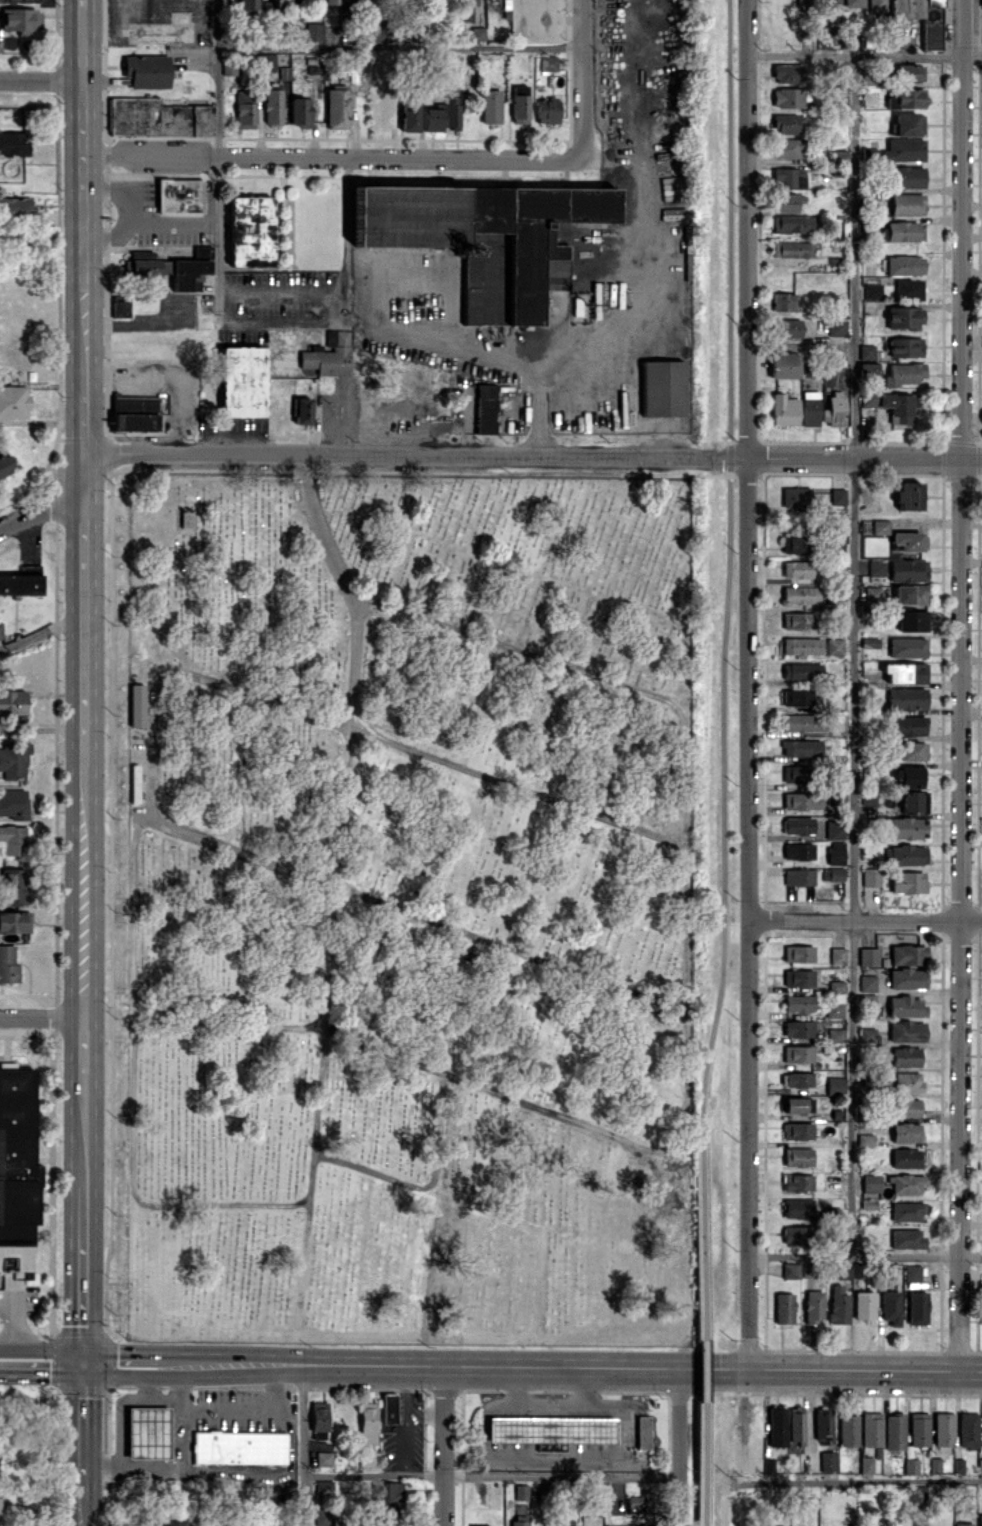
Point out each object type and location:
building: (19, 1)
building: (349, 1)
building: (366, 1)
building: (280, 2)
building: (331, 2)
building: (829, 2)
building: (853, 3)
building: (981, 3)
road: (82, 4)
building: (246, 4)
building: (805, 5)
building: (877, 5)
building: (467, 8)
building: (20, 20)
building: (313, 31)
building: (477, 33)
building: (931, 33)
road: (398, 47)
road: (864, 55)
building: (267, 62)
building: (548, 62)
building: (146, 71)
building: (787, 73)
building: (909, 73)
road: (216, 77)
building: (869, 77)
road: (41, 79)
road: (581, 85)
building: (787, 97)
building: (906, 98)
building: (519, 103)
building: (272, 105)
building: (490, 106)
building: (244, 108)
building: (336, 108)
building: (299, 111)
building: (547, 111)
building: (443, 113)
building: (408, 116)
building: (157, 118)
building: (787, 123)
building: (907, 124)
building: (13, 142)
building: (786, 148)
building: (903, 150)
building: (869, 154)
road: (323, 155)
building: (839, 157)
building: (906, 176)
building: (788, 177)
road: (118, 191)
building: (179, 195)
road: (84, 199)
building: (784, 202)
building: (906, 203)
building: (15, 206)
road: (142, 223)
building: (791, 223)
building: (904, 230)
building: (250, 231)
building: (485, 237)
building: (792, 248)
building: (904, 265)
road: (635, 269)
building: (908, 288)
building: (872, 290)
building: (784, 301)
building: (120, 306)
road: (280, 317)
building: (903, 317)
building: (787, 327)
building: (836, 327)
road: (118, 328)
building: (904, 347)
building: (866, 351)
building: (328, 354)
road: (479, 355)
building: (784, 365)
building: (867, 370)
building: (903, 373)
road: (164, 378)
building: (241, 381)
building: (661, 388)
building: (869, 397)
building: (13, 401)
building: (896, 407)
building: (485, 408)
building: (809, 408)
building: (784, 409)
building: (833, 409)
building: (301, 410)
building: (134, 412)
road: (347, 419)
road: (86, 423)
road: (533, 455)
building: (6, 463)
building: (907, 495)
building: (795, 496)
building: (837, 496)
road: (41, 504)
building: (183, 519)
building: (879, 526)
building: (907, 540)
building: (794, 544)
road: (728, 554)
building: (876, 567)
building: (796, 569)
building: (907, 569)
building: (22, 581)
building: (800, 594)
building: (871, 594)
building: (909, 594)
road: (86, 609)
building: (796, 620)
building: (911, 620)
road: (43, 629)
building: (1, 630)
building: (869, 642)
building: (801, 645)
building: (833, 646)
building: (907, 646)
road: (853, 656)
building: (801, 671)
building: (904, 672)
road: (747, 684)
road: (961, 685)
building: (796, 696)
building: (906, 698)
building: (13, 704)
building: (136, 704)
building: (806, 723)
building: (908, 726)
road: (151, 745)
building: (800, 748)
building: (912, 751)
building: (14, 758)
railway: (714, 762)
building: (795, 773)
building: (907, 777)
building: (867, 796)
building: (801, 800)
building: (912, 801)
building: (13, 803)
building: (797, 825)
building: (904, 827)
building: (834, 829)
building: (13, 839)
building: (798, 851)
building: (834, 853)
building: (903, 854)
building: (834, 874)
building: (798, 876)
building: (870, 876)
building: (906, 881)
building: (13, 886)
road: (85, 891)
park: (425, 907)
road: (865, 919)
building: (15, 921)
building: (797, 953)
building: (907, 954)
building: (837, 955)
building: (867, 956)
building: (8, 964)
building: (797, 977)
building: (906, 978)
building: (866, 983)
building: (834, 998)
building: (797, 1003)
building: (905, 1006)
road: (42, 1017)
building: (797, 1028)
building: (905, 1031)
building: (865, 1034)
road: (85, 1045)
building: (797, 1053)
building: (903, 1056)
road: (444, 1060)
building: (795, 1079)
building: (906, 1082)
building: (834, 1085)
building: (796, 1104)
building: (906, 1107)
road: (85, 1130)
building: (797, 1130)
building: (904, 1132)
road: (617, 1137)
building: (864, 1139)
building: (797, 1156)
building: (905, 1158)
building: (17, 1163)
road: (311, 1170)
building: (798, 1182)
building: (870, 1183)
building: (906, 1183)
building: (798, 1208)
building: (906, 1211)
building: (796, 1235)
building: (905, 1238)
road: (864, 1258)
building: (790, 1270)
building: (912, 1272)
road: (84, 1275)
building: (863, 1304)
building: (838, 1305)
building: (813, 1306)
building: (890, 1306)
building: (917, 1307)
building: (784, 1308)
road: (700, 1316)
road: (42, 1360)
traffic signals: (84, 1361)
road: (123, 1361)
road: (573, 1366)
road: (147, 1382)
road: (182, 1382)
road: (185, 1403)
road: (548, 1406)
building: (388, 1407)
road: (303, 1419)
building: (318, 1419)
building: (367, 1423)
building: (795, 1423)
building: (822, 1425)
building: (776, 1426)
road: (82, 1428)
building: (871, 1428)
building: (918, 1429)
building: (943, 1429)
building: (967, 1429)
building: (550, 1430)
building: (848, 1430)
building: (894, 1431)
building: (147, 1432)
building: (642, 1432)
road: (444, 1445)
road: (677, 1446)
building: (239, 1447)
building: (367, 1456)
building: (322, 1458)
building: (827, 1460)
building: (866, 1465)
building: (910, 1465)
building: (979, 1466)
road: (220, 1473)
road: (490, 1474)
road: (872, 1480)
building: (323, 1487)
building: (387, 1491)
building: (521, 1492)
building: (919, 1493)
road: (302, 1500)
road: (81, 1511)
building: (323, 1516)
building: (171, 1520)
building: (519, 1520)
building: (980, 1520)
building: (963, 1524)
building: (782, 1525)
building: (915, 1525)

